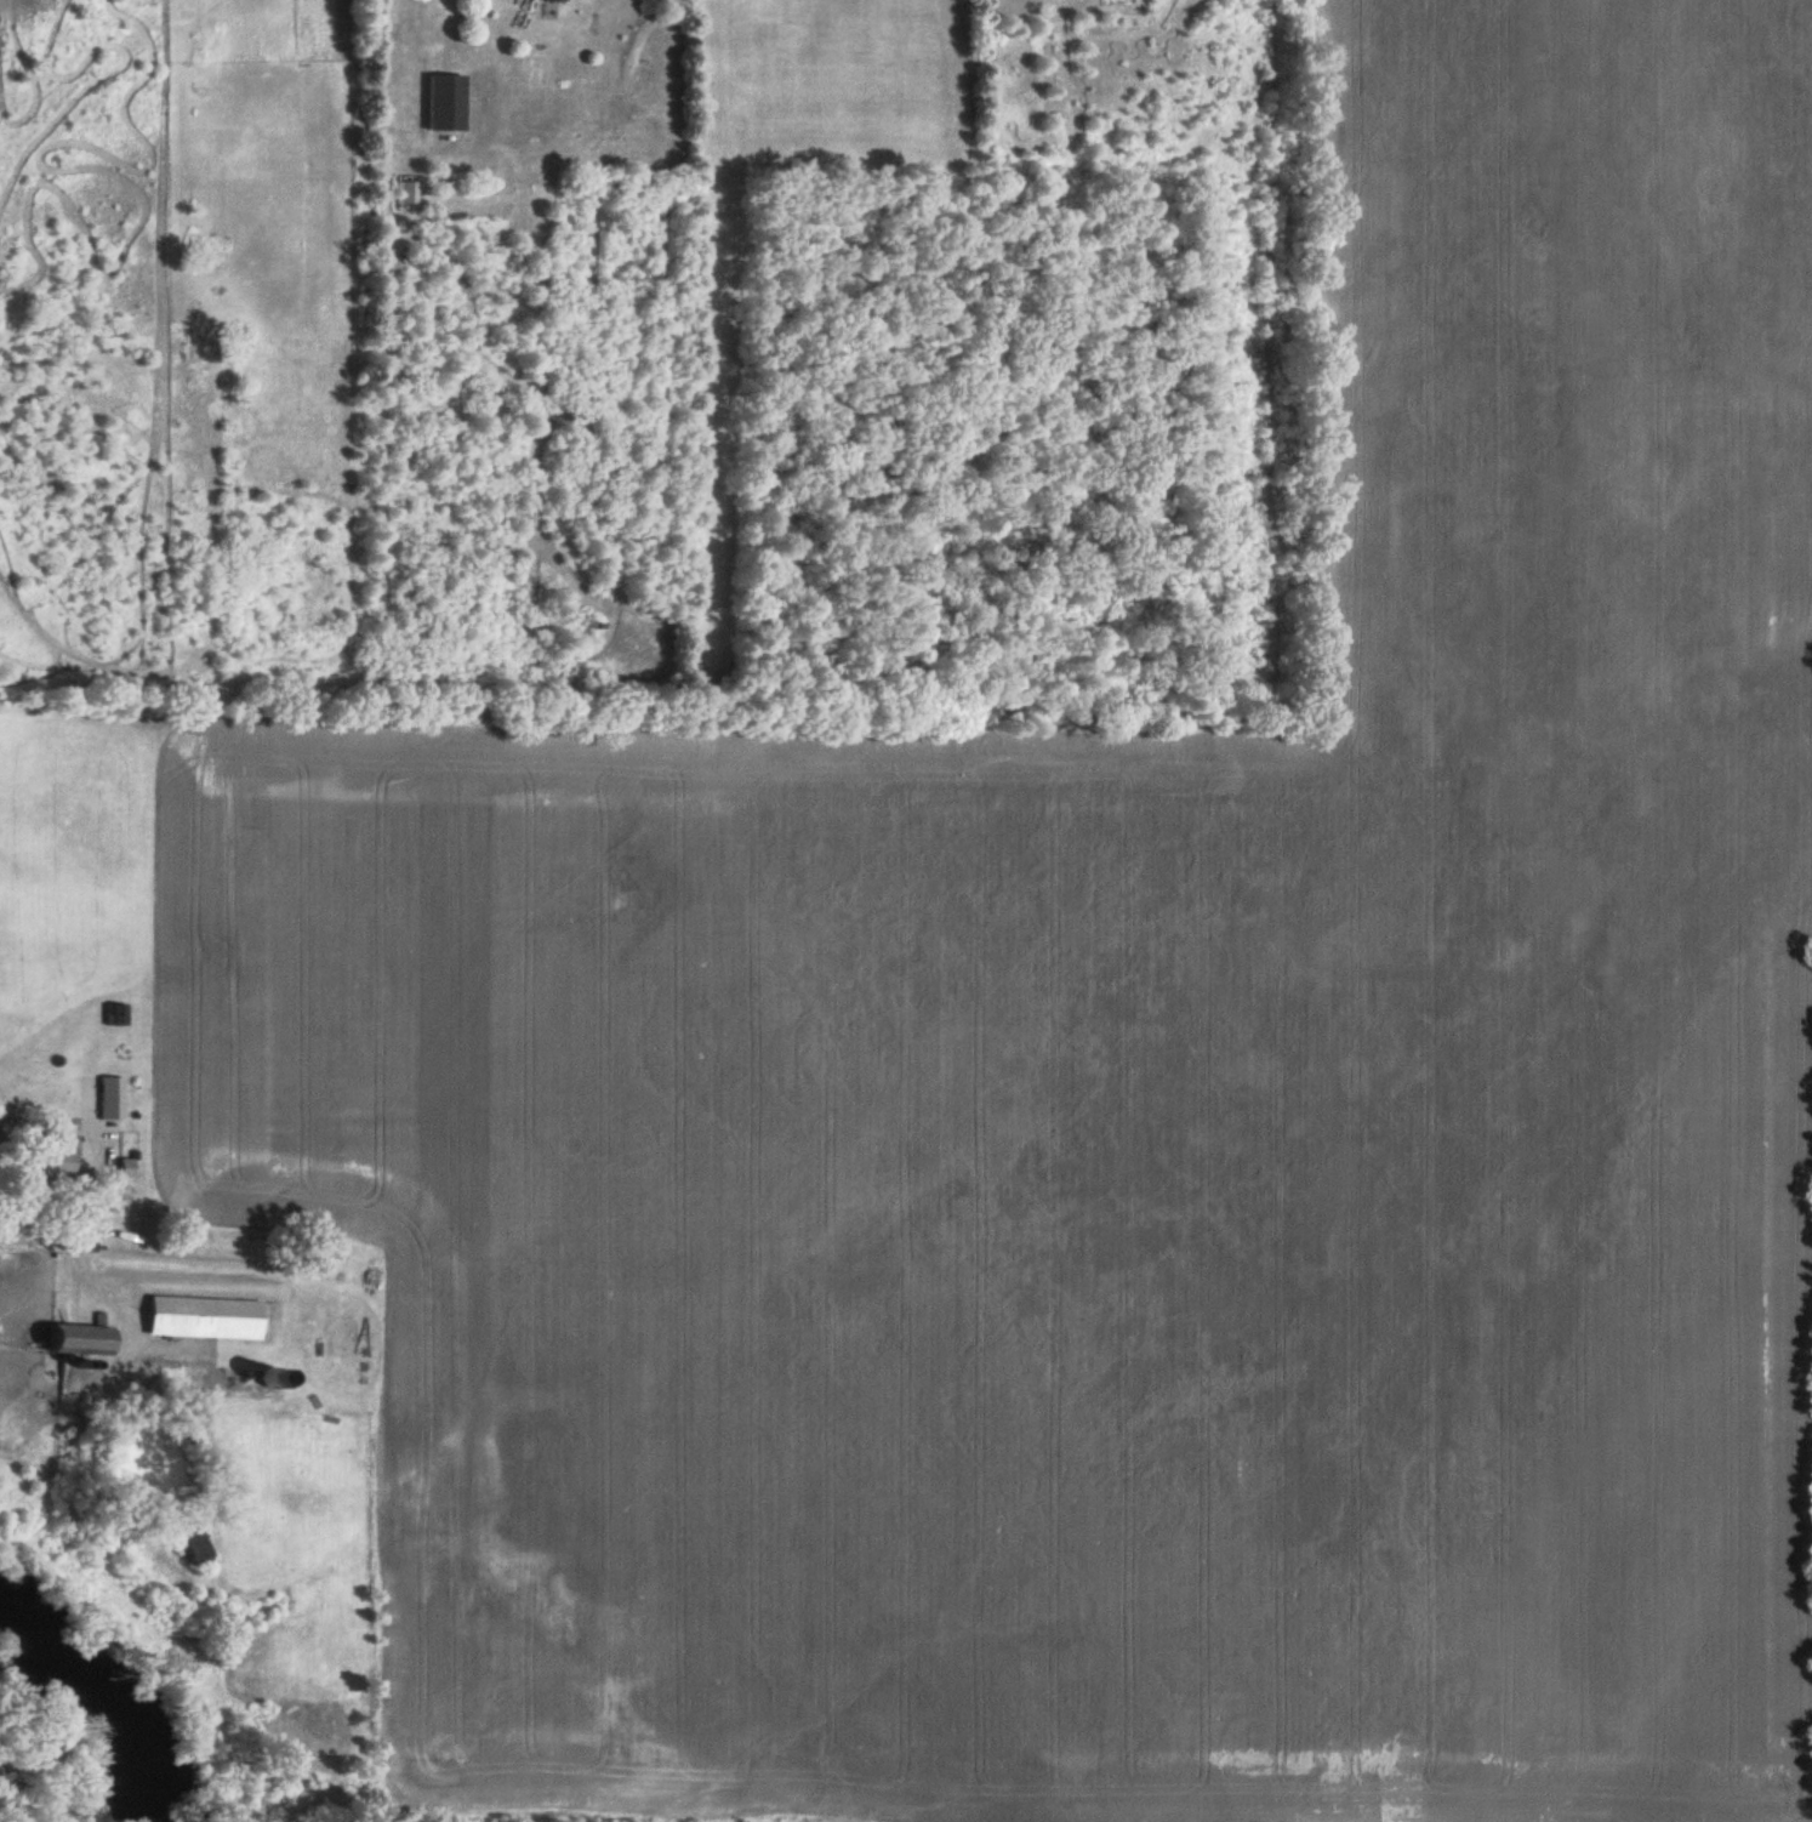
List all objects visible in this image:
building: (446, 103)
building: (116, 1014)
building: (112, 1099)
building: (50, 1163)
building: (124, 1168)
building: (206, 1319)
building: (78, 1339)
building: (195, 1549)
river: (115, 1704)

